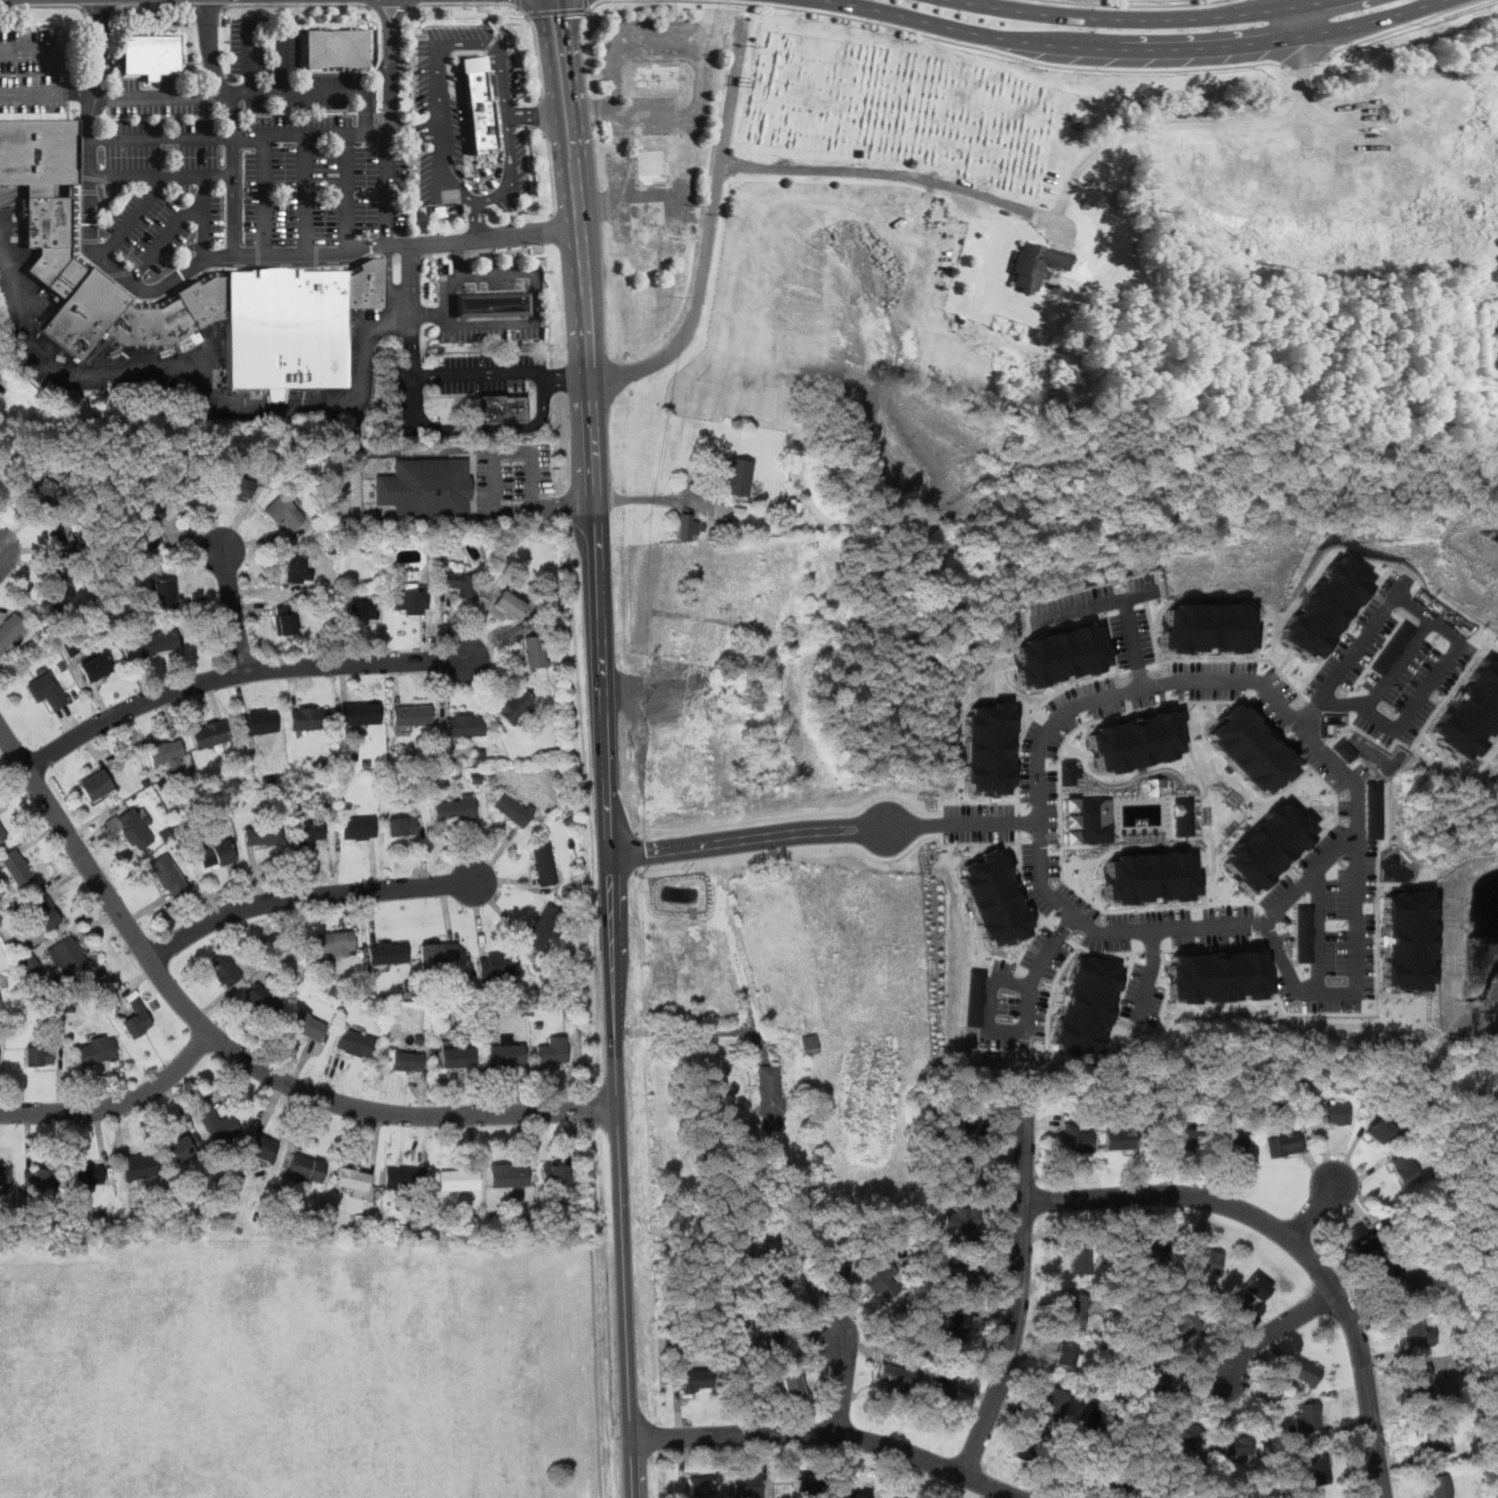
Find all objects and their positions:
road: (1294, 1)
road: (518, 2)
road: (295, 3)
road: (1141, 3)
road: (151, 4)
road: (585, 4)
road: (43, 5)
road: (392, 5)
road: (515, 5)
road: (518, 5)
road: (593, 5)
road: (100, 6)
road: (206, 6)
road: (557, 9)
road: (527, 13)
road: (490, 15)
traffic signals: (569, 16)
road: (1133, 16)
road: (1299, 19)
road: (1398, 26)
road: (493, 40)
road: (977, 45)
building: (337, 46)
road: (1140, 49)
building: (152, 53)
road: (250, 56)
road: (1302, 59)
road: (58, 61)
road: (283, 65)
road: (251, 92)
road: (579, 94)
road: (29, 96)
road: (553, 96)
crop: (903, 103)
building: (479, 104)
road: (530, 112)
road: (541, 114)
parking lot: (471, 119)
road: (390, 123)
road: (231, 125)
road: (415, 131)
road: (240, 135)
road: (500, 135)
parking lot: (248, 146)
building: (38, 152)
road: (551, 172)
road: (162, 174)
road: (510, 182)
road: (483, 187)
road: (349, 191)
road: (306, 192)
road: (266, 194)
road: (1061, 205)
road: (133, 215)
road: (479, 217)
road: (176, 222)
road: (710, 230)
building: (49, 233)
road: (204, 234)
road: (201, 259)
building: (1035, 263)
building: (68, 277)
road: (388, 282)
building: (367, 283)
road: (449, 288)
building: (205, 299)
building: (494, 303)
building: (86, 312)
road: (480, 322)
building: (151, 324)
building: (287, 327)
road: (436, 376)
parking lot: (458, 381)
building: (1063, 394)
building: (503, 409)
road: (282, 411)
road: (479, 427)
building: (738, 477)
road: (708, 483)
building: (39, 485)
building: (238, 487)
building: (183, 489)
building: (425, 489)
road: (495, 499)
road: (653, 500)
building: (283, 511)
building: (147, 534)
building: (62, 537)
road: (1361, 566)
building: (296, 568)
building: (460, 584)
building: (58, 587)
building: (164, 593)
building: (407, 601)
road: (1092, 602)
building: (509, 604)
building: (1318, 608)
road: (233, 609)
building: (362, 609)
building: (284, 619)
road: (1340, 623)
road: (1437, 627)
building: (1203, 628)
road: (1153, 629)
building: (10, 630)
road: (1337, 633)
building: (803, 634)
road: (1151, 636)
road: (1108, 637)
road: (1132, 641)
road: (1254, 641)
building: (157, 642)
road: (1107, 644)
building: (1389, 649)
building: (535, 651)
road: (1490, 651)
building: (1059, 656)
road: (1204, 657)
road: (1246, 660)
road: (1286, 663)
road: (1396, 665)
building: (95, 667)
road: (237, 673)
road: (998, 676)
road: (1066, 684)
building: (47, 691)
road: (1452, 693)
road: (1012, 697)
road: (1044, 703)
building: (515, 705)
road: (1216, 709)
road: (1319, 709)
building: (1470, 712)
building: (360, 713)
building: (412, 715)
road: (1132, 716)
building: (309, 718)
road: (1347, 721)
building: (258, 723)
building: (465, 725)
road: (1187, 730)
road: (1423, 730)
road: (1273, 731)
road: (1279, 733)
building: (210, 735)
road: (1348, 735)
building: (1139, 741)
road: (1310, 743)
building: (1340, 747)
road: (1433, 747)
building: (989, 748)
road: (1018, 748)
road: (1080, 750)
building: (1253, 750)
building: (165, 753)
building: (1348, 755)
road: (1195, 758)
building: (1072, 773)
road: (1299, 776)
building: (95, 785)
road: (1287, 786)
road: (1086, 795)
road: (1351, 795)
road: (1109, 796)
road: (989, 799)
road: (1317, 807)
building: (455, 808)
parking lot: (981, 808)
building: (514, 809)
road: (836, 811)
building: (1372, 811)
road: (607, 812)
road: (1067, 821)
building: (1090, 822)
fountain: (1146, 822)
building: (401, 826)
building: (358, 827)
building: (1181, 827)
building: (135, 828)
road: (824, 829)
building: (310, 830)
building: (2, 834)
building: (262, 834)
road: (1054, 835)
road: (1033, 837)
road: (1095, 844)
road: (1080, 846)
building: (1269, 847)
road: (829, 848)
road: (977, 850)
building: (215, 854)
road: (1216, 862)
building: (543, 865)
road: (1289, 866)
building: (16, 867)
road: (1024, 874)
road: (1203, 874)
road: (1293, 874)
building: (168, 875)
building: (1153, 878)
road: (1393, 883)
road: (1095, 885)
road: (1302, 886)
road: (1408, 887)
road: (1023, 890)
road: (1229, 890)
road: (309, 895)
road: (1087, 895)
building: (996, 899)
road: (1309, 899)
parking lot: (1330, 900)
road: (1156, 906)
building: (42, 909)
road: (1258, 923)
building: (545, 927)
road: (1317, 930)
building: (1304, 934)
road: (1074, 938)
building: (1407, 940)
building: (335, 942)
road: (1080, 947)
road: (1027, 948)
road: (1217, 949)
building: (437, 951)
road: (1017, 951)
road: (1160, 951)
road: (1146, 952)
building: (388, 953)
building: (67, 956)
road: (1103, 957)
building: (498, 964)
building: (32, 966)
building: (224, 969)
parking lot: (1146, 973)
road: (1153, 973)
road: (994, 976)
building: (1218, 976)
road: (1354, 979)
road: (1164, 980)
building: (978, 991)
road: (1407, 993)
road: (1392, 995)
road: (1058, 998)
building: (263, 1000)
building: (0, 1004)
building: (1087, 1006)
road: (1284, 1011)
building: (135, 1020)
building: (976, 1020)
building: (306, 1025)
road: (1028, 1027)
road: (701, 1033)
building: (355, 1042)
building: (810, 1044)
building: (96, 1050)
road: (231, 1050)
building: (553, 1050)
building: (505, 1052)
building: (39, 1055)
road: (1062, 1056)
building: (457, 1057)
building: (407, 1061)
building: (770, 1097)
road: (117, 1104)
building: (1336, 1113)
building: (215, 1121)
building: (969, 1122)
road: (1043, 1122)
road: (1329, 1128)
building: (1380, 1130)
building: (1178, 1137)
building: (1120, 1138)
building: (1075, 1139)
road: (1366, 1140)
building: (1233, 1142)
building: (1283, 1144)
building: (183, 1147)
building: (262, 1148)
road: (1027, 1150)
road: (1128, 1154)
road: (1327, 1154)
road: (1296, 1155)
road: (1348, 1156)
building: (138, 1166)
road: (1320, 1167)
road: (1388, 1167)
building: (306, 1168)
building: (1404, 1169)
building: (554, 1173)
building: (87, 1174)
road: (1365, 1174)
building: (508, 1175)
building: (967, 1175)
road: (1075, 1175)
road: (1138, 1175)
building: (5, 1178)
building: (39, 1178)
building: (404, 1179)
building: (458, 1179)
building: (352, 1181)
road: (1000, 1205)
road: (1313, 1212)
building: (963, 1223)
road: (1293, 1242)
building: (1145, 1245)
building: (1368, 1248)
building: (1081, 1260)
building: (1208, 1260)
building: (835, 1268)
building: (787, 1277)
building: (966, 1279)
building: (1392, 1280)
building: (883, 1281)
road: (1045, 1287)
building: (1255, 1287)
road: (794, 1292)
road: (855, 1294)
road: (817, 1309)
building: (1075, 1309)
road: (994, 1314)
road: (972, 1320)
building: (1182, 1328)
building: (954, 1330)
building: (1417, 1332)
building: (771, 1336)
road: (1272, 1339)
road: (1011, 1340)
building: (1063, 1355)
road: (821, 1363)
airport: (303, 1366)
building: (1304, 1371)
building: (897, 1375)
road: (804, 1377)
building: (1159, 1377)
building: (696, 1380)
road: (844, 1381)
building: (1422, 1382)
building: (791, 1386)
road: (861, 1389)
building: (939, 1390)
road: (974, 1392)
road: (952, 1395)
road: (688, 1397)
building: (1059, 1406)
road: (678, 1412)
building: (1306, 1417)
road: (829, 1432)
building: (1186, 1432)
building: (1436, 1440)
building: (1239, 1446)
building: (1024, 1449)
road: (634, 1467)
building: (1315, 1469)
building: (699, 1485)
building: (1439, 1485)
building: (748, 1486)
building: (804, 1486)
building: (1111, 1490)
building: (851, 1491)

